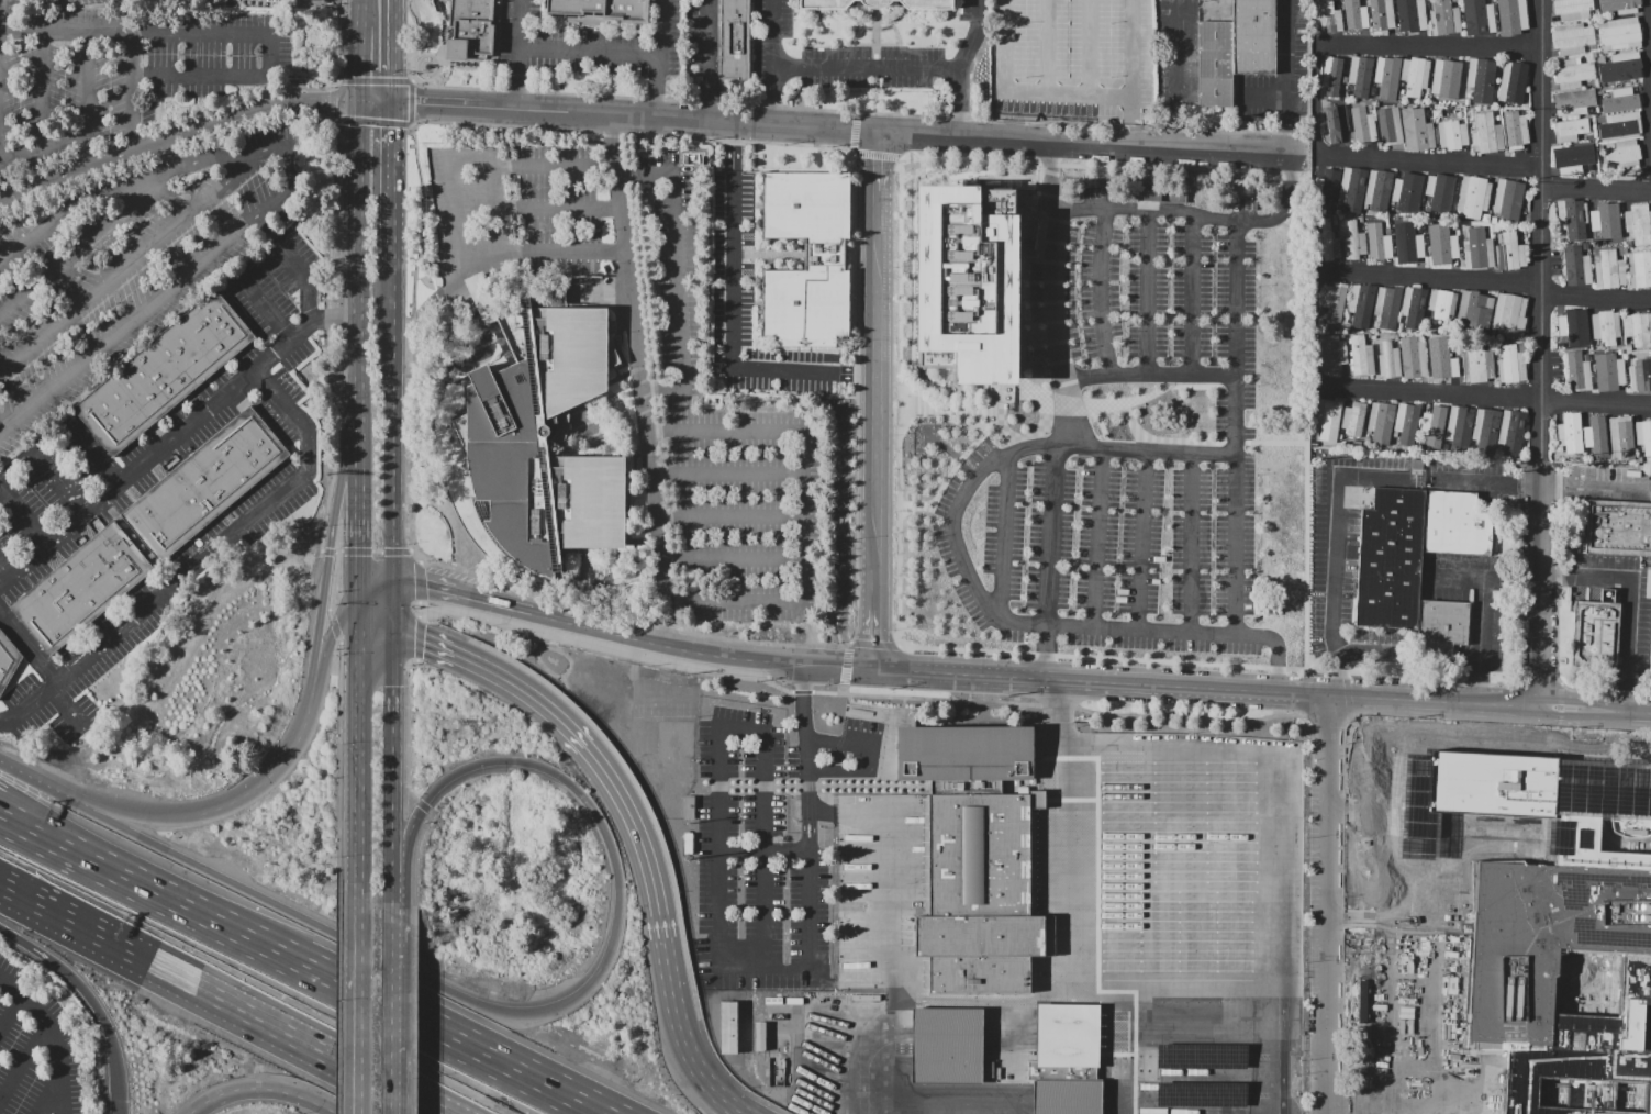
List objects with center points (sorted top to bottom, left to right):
building: (1454, 0)
building: (878, 4)
building: (1619, 5)
building: (604, 9)
building: (1572, 9)
road: (360, 12)
building: (1356, 15)
building: (1382, 15)
building: (1410, 15)
building: (1329, 16)
building: (1511, 16)
building: (1443, 18)
building: (1477, 18)
road: (892, 23)
building: (470, 30)
road: (134, 34)
road: (774, 34)
building: (1619, 34)
road: (974, 36)
building: (1572, 38)
building: (738, 41)
road: (870, 46)
road: (884, 47)
road: (1430, 49)
building: (1236, 51)
road: (394, 52)
road: (588, 52)
building: (1593, 54)
road: (518, 56)
road: (269, 57)
road: (656, 59)
building: (1600, 60)
road: (706, 62)
road: (357, 63)
road: (877, 64)
building: (1620, 67)
road: (866, 68)
road: (1013, 69)
road: (1130, 74)
road: (1176, 74)
building: (1335, 74)
building: (1572, 74)
building: (1385, 76)
building: (1415, 76)
road: (201, 77)
road: (1285, 77)
building: (1360, 77)
building: (1447, 78)
road: (338, 79)
road: (375, 79)
road: (412, 79)
building: (1481, 79)
building: (1511, 80)
road: (332, 82)
building: (1627, 82)
building: (1374, 87)
road: (875, 90)
road: (42, 91)
building: (1401, 91)
building: (1616, 91)
road: (133, 92)
building: (1374, 92)
road: (1267, 96)
road: (87, 98)
road: (774, 98)
building: (1622, 99)
building: (1574, 101)
traffic signals: (357, 102)
road: (376, 102)
road: (410, 102)
road: (1316, 102)
building: (1468, 102)
road: (332, 103)
traffic signals: (394, 103)
road: (958, 103)
building: (1382, 104)
building: (1369, 107)
building: (1597, 109)
road: (857, 111)
building: (1428, 113)
road: (583, 116)
building: (1496, 118)
building: (1600, 119)
road: (1, 120)
road: (370, 121)
building: (1336, 122)
building: (1362, 125)
building: (1388, 125)
building: (1620, 125)
road: (411, 126)
building: (1416, 129)
road: (826, 130)
building: (1516, 130)
building: (1570, 130)
road: (854, 131)
building: (1486, 133)
road: (633, 134)
road: (918, 134)
building: (1452, 134)
road: (175, 136)
building: (1591, 136)
road: (1004, 140)
building: (1595, 142)
road: (734, 147)
road: (1178, 149)
road: (44, 152)
road: (874, 154)
building: (1624, 154)
road: (170, 155)
road: (465, 157)
road: (901, 158)
building: (1570, 159)
road: (1430, 164)
road: (553, 167)
building: (1588, 167)
road: (914, 171)
road: (928, 171)
road: (979, 180)
parking lot: (130, 181)
building: (1326, 183)
road: (394, 185)
road: (879, 185)
road: (1035, 187)
building: (1352, 188)
building: (1377, 190)
building: (1440, 191)
building: (1407, 192)
road: (1596, 192)
road: (285, 193)
building: (1473, 197)
building: (1508, 199)
parking lot: (520, 203)
road: (558, 209)
building: (1338, 211)
road: (1201, 214)
building: (1360, 219)
building: (1573, 219)
building: (1493, 220)
building: (1604, 221)
building: (1335, 223)
building: (1639, 223)
building: (1494, 229)
road: (1542, 236)
building: (1594, 237)
building: (1328, 239)
building: (1354, 242)
road: (88, 243)
building: (1628, 243)
building: (1585, 245)
building: (1595, 245)
building: (1379, 247)
building: (1442, 247)
building: (1409, 248)
building: (1477, 249)
building: (1620, 252)
building: (1509, 253)
building: (807, 258)
road: (132, 263)
road: (490, 264)
building: (1576, 266)
building: (1640, 268)
building: (1609, 270)
road: (676, 276)
road: (309, 281)
building: (966, 281)
road: (1486, 285)
road: (1024, 288)
road: (912, 289)
road: (1033, 291)
road: (1101, 291)
road: (1148, 291)
road: (1052, 292)
road: (1053, 292)
road: (1068, 292)
road: (599, 293)
road: (1194, 293)
building: (1335, 303)
building: (1362, 304)
building: (1441, 305)
building: (1388, 307)
building: (1413, 309)
road: (1068, 310)
road: (269, 311)
road: (1051, 311)
road: (1033, 312)
building: (1474, 312)
building: (1508, 315)
road: (733, 322)
building: (1347, 326)
building: (1571, 326)
building: (1605, 326)
road: (324, 327)
building: (1342, 327)
building: (1638, 328)
building: (1373, 331)
road: (1314, 332)
road: (427, 334)
building: (1368, 335)
building: (1373, 336)
road: (412, 337)
building: (1594, 342)
road: (356, 343)
building: (1628, 348)
building: (1619, 352)
building: (1334, 353)
building: (1362, 356)
building: (1413, 357)
building: (1388, 360)
building: (1477, 361)
building: (1443, 363)
building: (1510, 365)
building: (1579, 370)
building: (1608, 371)
building: (163, 374)
road: (1149, 374)
road: (857, 376)
building: (1640, 376)
road: (639, 383)
road: (1196, 386)
road: (1229, 386)
road: (1012, 387)
road: (857, 396)
road: (1484, 398)
road: (1128, 401)
road: (878, 402)
road: (1068, 404)
road: (948, 405)
building: (1328, 419)
building: (1353, 419)
road: (1129, 420)
building: (1380, 422)
road: (1100, 423)
building: (1406, 423)
building: (1432, 423)
road: (393, 424)
road: (989, 426)
building: (1460, 426)
road: (1236, 427)
building: (1485, 428)
building: (1511, 431)
building: (538, 432)
building: (1593, 432)
building: (1570, 433)
building: (1643, 435)
building: (1621, 437)
building: (1366, 438)
road: (1181, 439)
road: (172, 442)
road: (1234, 442)
road: (1105, 444)
road: (986, 449)
parking lot: (730, 454)
road: (98, 459)
road: (970, 466)
road: (726, 474)
road: (295, 479)
building: (208, 482)
road: (58, 483)
road: (1483, 483)
parking lot: (77, 487)
road: (1594, 489)
road: (915, 504)
road: (802, 506)
road: (899, 506)
road: (833, 511)
road: (23, 515)
road: (728, 515)
road: (450, 522)
road: (1305, 525)
building: (1618, 528)
road: (1050, 533)
road: (1003, 535)
road: (1096, 538)
road: (1140, 539)
road: (330, 543)
road: (1191, 543)
traffic signals: (358, 547)
road: (1336, 547)
road: (411, 548)
road: (327, 550)
road: (337, 550)
road: (355, 550)
road: (376, 550)
road: (394, 550)
road: (730, 558)
road: (421, 559)
building: (1417, 564)
road: (5, 570)
road: (1519, 573)
road: (1461, 577)
road: (968, 579)
road: (1620, 579)
road: (332, 580)
road: (376, 581)
road: (419, 581)
traffic signals: (426, 587)
building: (82, 589)
road: (1540, 590)
road: (835, 604)
road: (360, 608)
road: (392, 608)
road: (417, 609)
road: (627, 616)
road: (875, 620)
road: (334, 624)
road: (125, 627)
road: (596, 630)
road: (836, 632)
road: (916, 632)
road: (1557, 632)
road: (377, 633)
building: (1596, 635)
road: (416, 638)
road: (1480, 639)
traffic signals: (424, 642)
road: (873, 643)
road: (327, 644)
road: (901, 644)
road: (605, 646)
road: (1044, 650)
road: (1371, 653)
building: (1650, 654)
building: (7, 660)
road: (846, 664)
road: (839, 667)
road: (768, 669)
road: (490, 672)
road: (49, 673)
road: (959, 675)
road: (1343, 675)
road: (766, 678)
road: (1537, 681)
traffic signals: (391, 684)
road: (841, 690)
road: (801, 691)
road: (1560, 693)
road: (1291, 694)
road: (924, 699)
road: (1348, 699)
road: (1563, 699)
road: (71, 702)
road: (863, 703)
road: (1057, 704)
road: (894, 708)
road: (1560, 708)
flagpole: (908, 710)
road: (1619, 710)
road: (1563, 713)
road: (1193, 715)
road: (1560, 717)
road: (1328, 722)
road: (1353, 723)
road: (1412, 724)
road: (405, 727)
road: (1559, 732)
road: (805, 736)
road: (866, 751)
road: (391, 753)
road: (526, 762)
road: (338, 764)
road: (361, 766)
road: (267, 778)
road: (34, 780)
road: (410, 795)
building: (1533, 799)
road: (423, 805)
road: (13, 806)
road: (821, 811)
road: (1360, 811)
road: (13, 812)
road: (131, 816)
road: (632, 818)
road: (1279, 825)
road: (1071, 827)
road: (717, 828)
road: (763, 851)
building: (977, 855)
road: (412, 866)
road: (891, 882)
road: (392, 893)
road: (264, 899)
road: (1327, 905)
road: (360, 906)
road: (1358, 917)
road: (1360, 917)
road: (256, 935)
building: (1543, 938)
road: (614, 940)
road: (112, 942)
road: (392, 942)
road: (1438, 961)
road: (1393, 962)
road: (668, 966)
parking lot: (1437, 969)
road: (1460, 977)
road: (1071, 987)
road: (982, 998)
road: (337, 1001)
road: (92, 1002)
road: (476, 1003)
road: (557, 1006)
road: (391, 1010)
road: (1357, 1010)
road: (12, 1011)
road: (360, 1014)
road: (872, 1014)
road: (412, 1020)
road: (272, 1025)
building: (727, 1027)
road: (55, 1034)
building: (1069, 1038)
road: (1303, 1040)
building: (949, 1049)
road: (688, 1050)
building: (1591, 1052)
building: (1203, 1057)
road: (23, 1060)
road: (507, 1061)
road: (384, 1073)
road: (863, 1076)
road: (371, 1082)
road: (391, 1082)
road: (265, 1090)
road: (556, 1093)
road: (570, 1093)
road: (49, 1095)
building: (1202, 1096)
road: (723, 1099)
building: (1069, 1099)
road: (1353, 1101)
road: (467, 1105)
road: (1383, 1106)

